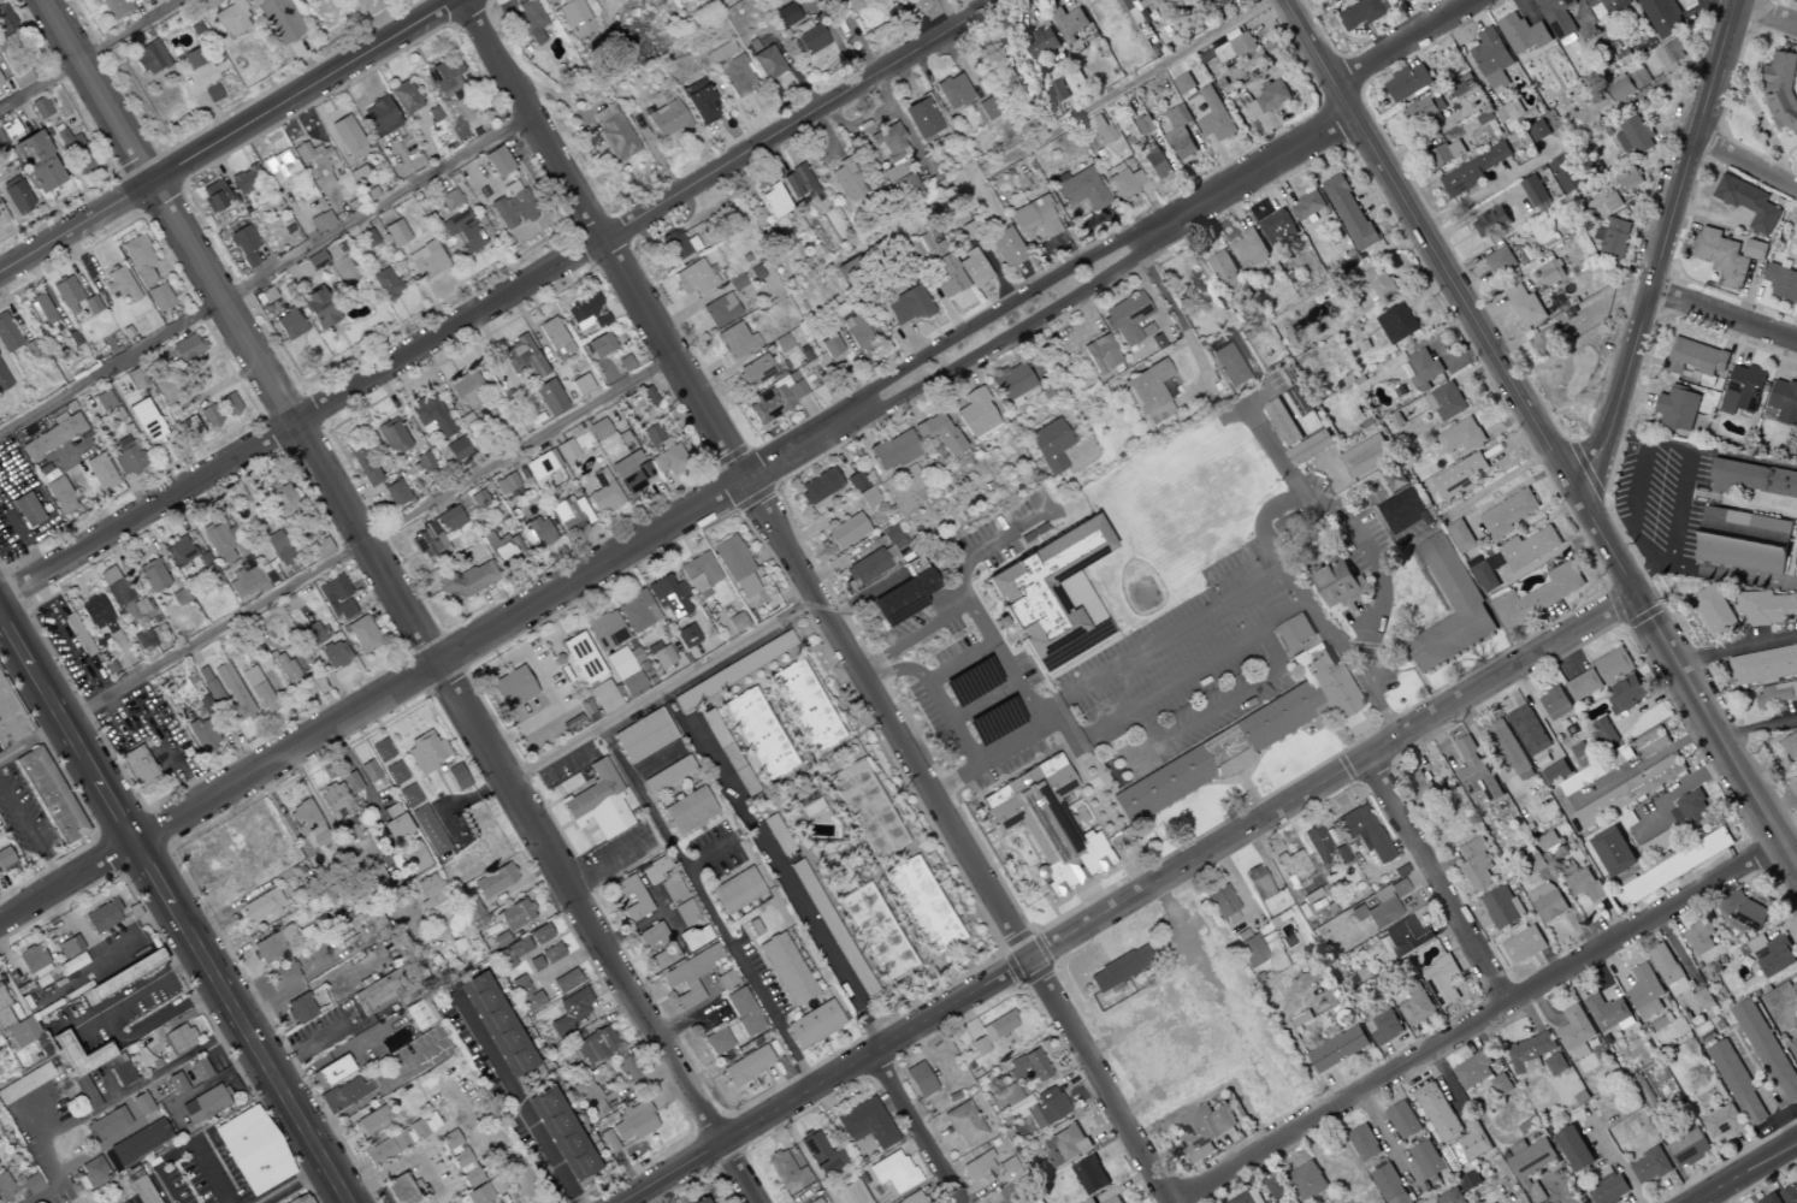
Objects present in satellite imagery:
building: (297, 0)
building: (1331, 0)
building: (1399, 0)
building: (616, 1)
building: (892, 1)
building: (206, 4)
building: (852, 4)
building: (1219, 4)
building: (114, 7)
building: (1607, 7)
building: (1361, 13)
road: (1766, 13)
building: (785, 14)
building: (1141, 14)
building: (575, 17)
building: (1559, 17)
building: (1662, 17)
building: (231, 18)
building: (279, 20)
building: (530, 20)
building: (6, 23)
building: (1070, 24)
building: (1523, 34)
building: (808, 38)
road: (1312, 41)
road: (1405, 41)
building: (1041, 43)
building: (1236, 46)
building: (719, 52)
building: (1672, 54)
road: (93, 55)
building: (194, 58)
building: (1492, 58)
building: (149, 59)
building: (767, 63)
building: (735, 75)
building: (1001, 75)
road: (1157, 75)
building: (19, 77)
building: (444, 78)
building: (1408, 82)
building: (1184, 83)
building: (0, 84)
building: (1628, 84)
building: (1462, 85)
building: (1781, 90)
building: (952, 91)
building: (1059, 91)
building: (212, 93)
building: (403, 97)
building: (1269, 99)
building: (701, 105)
building: (40, 107)
building: (987, 108)
building: (1426, 111)
building: (1508, 114)
building: (378, 117)
building: (1216, 117)
building: (920, 118)
building: (667, 119)
road: (805, 119)
building: (10, 130)
building: (1100, 130)
building: (1538, 131)
building: (613, 132)
building: (1181, 132)
road: (231, 136)
building: (347, 137)
building: (1635, 138)
building: (0, 146)
building: (77, 152)
building: (1447, 154)
building: (892, 158)
building: (37, 161)
building: (496, 161)
building: (1155, 162)
building: (317, 164)
road: (1746, 164)
building: (278, 166)
building: (1474, 171)
building: (1567, 176)
building: (1628, 179)
building: (246, 180)
building: (845, 180)
building: (798, 182)
building: (1123, 182)
building: (1080, 189)
road: (1488, 191)
building: (1535, 191)
building: (213, 195)
building: (18, 197)
building: (449, 200)
building: (774, 201)
building: (1749, 203)
building: (1308, 205)
building: (512, 211)
building: (1350, 213)
building: (1, 217)
building: (1033, 218)
building: (320, 221)
building: (1492, 221)
building: (1278, 229)
building: (395, 232)
building: (462, 232)
building: (1613, 237)
building: (367, 238)
building: (243, 245)
building: (678, 245)
building: (1005, 247)
building: (1251, 248)
building: (922, 249)
building: (1755, 250)
road: (1659, 251)
building: (1721, 257)
building: (137, 260)
building: (426, 261)
building: (1501, 261)
building: (344, 268)
building: (971, 268)
building: (1224, 269)
building: (1551, 273)
building: (946, 277)
road: (266, 278)
building: (693, 279)
building: (1379, 282)
building: (1781, 282)
building: (385, 283)
building: (118, 284)
building: (65, 291)
building: (158, 297)
road: (1051, 298)
building: (90, 304)
building: (905, 306)
building: (1526, 306)
building: (318, 308)
building: (40, 309)
building: (73, 309)
building: (581, 310)
building: (720, 310)
road: (1175, 314)
road: (1722, 314)
building: (1127, 318)
building: (289, 324)
building: (1397, 324)
building: (856, 333)
building: (7, 334)
building: (552, 338)
building: (1548, 339)
building: (737, 340)
building: (599, 345)
building: (187, 348)
building: (829, 349)
building: (1100, 354)
building: (521, 357)
building: (1695, 357)
building: (623, 363)
building: (1226, 365)
building: (1424, 371)
building: (755, 372)
building: (136, 378)
building: (2, 381)
building: (580, 384)
building: (1012, 385)
building: (465, 389)
building: (1743, 390)
building: (1147, 392)
building: (549, 397)
building: (774, 399)
building: (104, 401)
building: (1447, 402)
building: (1783, 403)
building: (227, 404)
building: (1678, 409)
building: (1304, 410)
building: (208, 415)
building: (430, 415)
building: (975, 415)
building: (146, 420)
road: (302, 421)
building: (1283, 422)
building: (189, 427)
building: (598, 429)
building: (936, 433)
building: (391, 435)
building: (52, 437)
building: (1461, 437)
road: (1650, 439)
building: (1048, 445)
building: (456, 449)
building: (1311, 449)
building: (566, 450)
building: (662, 451)
building: (892, 451)
building: (126, 456)
building: (1366, 456)
building: (361, 457)
road: (1745, 458)
building: (422, 462)
building: (540, 464)
building: (99, 472)
building: (631, 473)
road: (1566, 473)
building: (1460, 476)
building: (1754, 479)
building: (510, 480)
building: (855, 481)
building: (817, 486)
building: (602, 492)
building: (395, 493)
building: (59, 496)
building: (478, 499)
building: (280, 500)
road: (1637, 506)
building: (26, 509)
building: (571, 514)
building: (1508, 514)
building: (1408, 516)
building: (450, 520)
road: (1680, 529)
building: (539, 532)
building: (845, 532)
building: (1461, 537)
building: (427, 541)
building: (1744, 541)
building: (224, 543)
building: (278, 547)
building: (319, 549)
building: (1530, 549)
building: (504, 550)
building: (177, 551)
building: (875, 558)
road: (337, 561)
building: (735, 567)
building: (699, 574)
building: (153, 575)
road: (1734, 575)
building: (1485, 576)
building: (469, 580)
building: (247, 582)
building: (1338, 582)
building: (113, 586)
road: (1248, 587)
building: (1050, 594)
building: (1538, 595)
building: (178, 597)
building: (668, 597)
building: (336, 598)
building: (902, 599)
road: (398, 601)
road: (818, 601)
building: (1450, 608)
building: (1767, 608)
road: (975, 609)
building: (637, 611)
building: (1715, 611)
building: (99, 617)
building: (732, 623)
building: (605, 630)
building: (1294, 633)
building: (311, 635)
building: (361, 635)
building: (686, 636)
building: (146, 645)
road: (1738, 648)
building: (333, 654)
building: (663, 658)
building: (583, 659)
building: (301, 662)
building: (1763, 665)
building: (284, 669)
road: (894, 670)
building: (733, 671)
building: (1602, 674)
building: (968, 683)
building: (208, 685)
building: (631, 685)
building: (512, 688)
building: (232, 691)
building: (258, 691)
road: (662, 691)
building: (1335, 693)
building: (1627, 694)
building: (1778, 694)
building: (598, 701)
road: (373, 704)
building: (1555, 704)
building: (805, 706)
building: (10, 718)
road: (950, 721)
road: (1758, 727)
building: (1603, 733)
building: (758, 734)
building: (1531, 734)
building: (202, 735)
building: (643, 735)
building: (1651, 742)
building: (1507, 747)
building: (1791, 748)
building: (1220, 751)
building: (728, 753)
building: (425, 754)
road: (987, 758)
building: (388, 761)
road: (1647, 765)
building: (137, 766)
building: (1476, 770)
building: (1596, 770)
building: (368, 771)
building: (1555, 772)
building: (668, 775)
building: (456, 777)
road: (1335, 778)
building: (349, 782)
building: (1421, 784)
road: (1684, 790)
building: (1630, 792)
building: (49, 795)
building: (408, 796)
building: (335, 800)
building: (598, 804)
building: (688, 810)
building: (867, 810)
building: (1692, 812)
building: (302, 818)
road: (329, 819)
building: (1047, 825)
building: (395, 828)
building: (428, 830)
building: (1364, 832)
building: (776, 835)
road: (30, 838)
building: (1549, 842)
road: (1791, 842)
building: (1660, 843)
building: (1323, 847)
building: (1614, 852)
building: (412, 858)
building: (5, 859)
building: (1536, 863)
building: (1476, 865)
building: (1678, 865)
building: (1294, 867)
building: (654, 870)
road: (772, 871)
building: (493, 881)
building: (1257, 883)
road: (1438, 883)
building: (1583, 883)
building: (672, 888)
building: (1397, 888)
building: (428, 890)
building: (737, 890)
building: (1310, 895)
building: (629, 897)
building: (1219, 901)
building: (1548, 902)
building: (922, 905)
building: (260, 906)
building: (1502, 907)
road: (707, 908)
building: (471, 909)
building: (1377, 909)
road: (173, 911)
building: (1745, 911)
building: (686, 913)
building: (514, 914)
building: (101, 917)
building: (374, 928)
building: (833, 930)
building: (876, 932)
building: (539, 935)
building: (696, 937)
building: (1700, 937)
building: (1405, 938)
building: (1524, 943)
building: (274, 944)
building: (657, 946)
building: (69, 947)
building: (1247, 947)
building: (550, 953)
building: (509, 954)
building: (31, 958)
building: (76, 961)
building: (533, 964)
building: (786, 968)
building: (1117, 968)
building: (1668, 970)
building: (282, 976)
building: (688, 976)
building: (122, 977)
building: (564, 980)
building: (1443, 980)
road: (150, 984)
building: (382, 992)
building: (1645, 992)
building: (525, 995)
building: (1417, 1006)
building: (298, 1008)
building: (569, 1011)
building: (741, 1012)
building: (419, 1013)
building: (1608, 1013)
road: (1199, 1014)
road: (1137, 1017)
building: (1343, 1018)
road: (89, 1019)
road: (152, 1020)
road: (1485, 1023)
building: (497, 1024)
building: (814, 1024)
building: (14, 1026)
building: (1384, 1027)
building: (992, 1032)
building: (1576, 1032)
building: (177, 1039)
building: (391, 1041)
building: (716, 1042)
road: (305, 1043)
building: (595, 1045)
building: (101, 1049)
building: (1338, 1049)
building: (1795, 1049)
building: (1768, 1050)
building: (1530, 1053)
building: (1556, 1065)
building: (746, 1066)
building: (627, 1068)
building: (119, 1069)
building: (199, 1069)
building: (331, 1072)
building: (1473, 1072)
building: (1022, 1074)
building: (918, 1079)
building: (25, 1083)
building: (175, 1083)
building: (1738, 1083)
road: (827, 1084)
building: (1502, 1085)
building: (1644, 1091)
building: (344, 1094)
road: (513, 1096)
building: (589, 1098)
road: (110, 1101)
building: (141, 1103)
building: (203, 1104)
building: (1046, 1108)
building: (1437, 1112)
building: (1403, 1120)
building: (371, 1121)
building: (633, 1122)
building: (1722, 1122)
building: (864, 1124)
building: (963, 1124)
building: (106, 1125)
road: (921, 1128)
building: (1635, 1130)
building: (562, 1133)
building: (1473, 1140)
building: (138, 1142)
building: (395, 1142)
building: (1365, 1143)
building: (1065, 1145)
road: (182, 1148)
building: (1574, 1149)
building: (1690, 1149)
building: (252, 1150)
building: (821, 1155)
building: (459, 1158)
building: (1426, 1160)
building: (1531, 1160)
road: (1618, 1161)
road: (403, 1162)
building: (1650, 1167)
building: (93, 1169)
building: (784, 1169)
building: (979, 1169)
building: (892, 1172)
road: (1745, 1172)
building: (1090, 1175)
building: (516, 1178)
building: (1308, 1181)
road: (289, 1183)
building: (30, 1184)
building: (1390, 1185)
building: (5, 1186)
building: (1277, 1187)
building: (1608, 1187)
building: (142, 1190)
building: (398, 1190)
building: (853, 1192)
building: (479, 1195)
building: (1791, 1195)
building: (1004, 1196)
building: (1452, 1197)
building: (914, 1198)
building: (1247, 1198)
building: (298, 1199)
road: (1706, 1199)
building: (1771, 1199)
building: (701, 1201)
building: (815, 1201)
building: (1089, 1201)
building: (1115, 1201)

